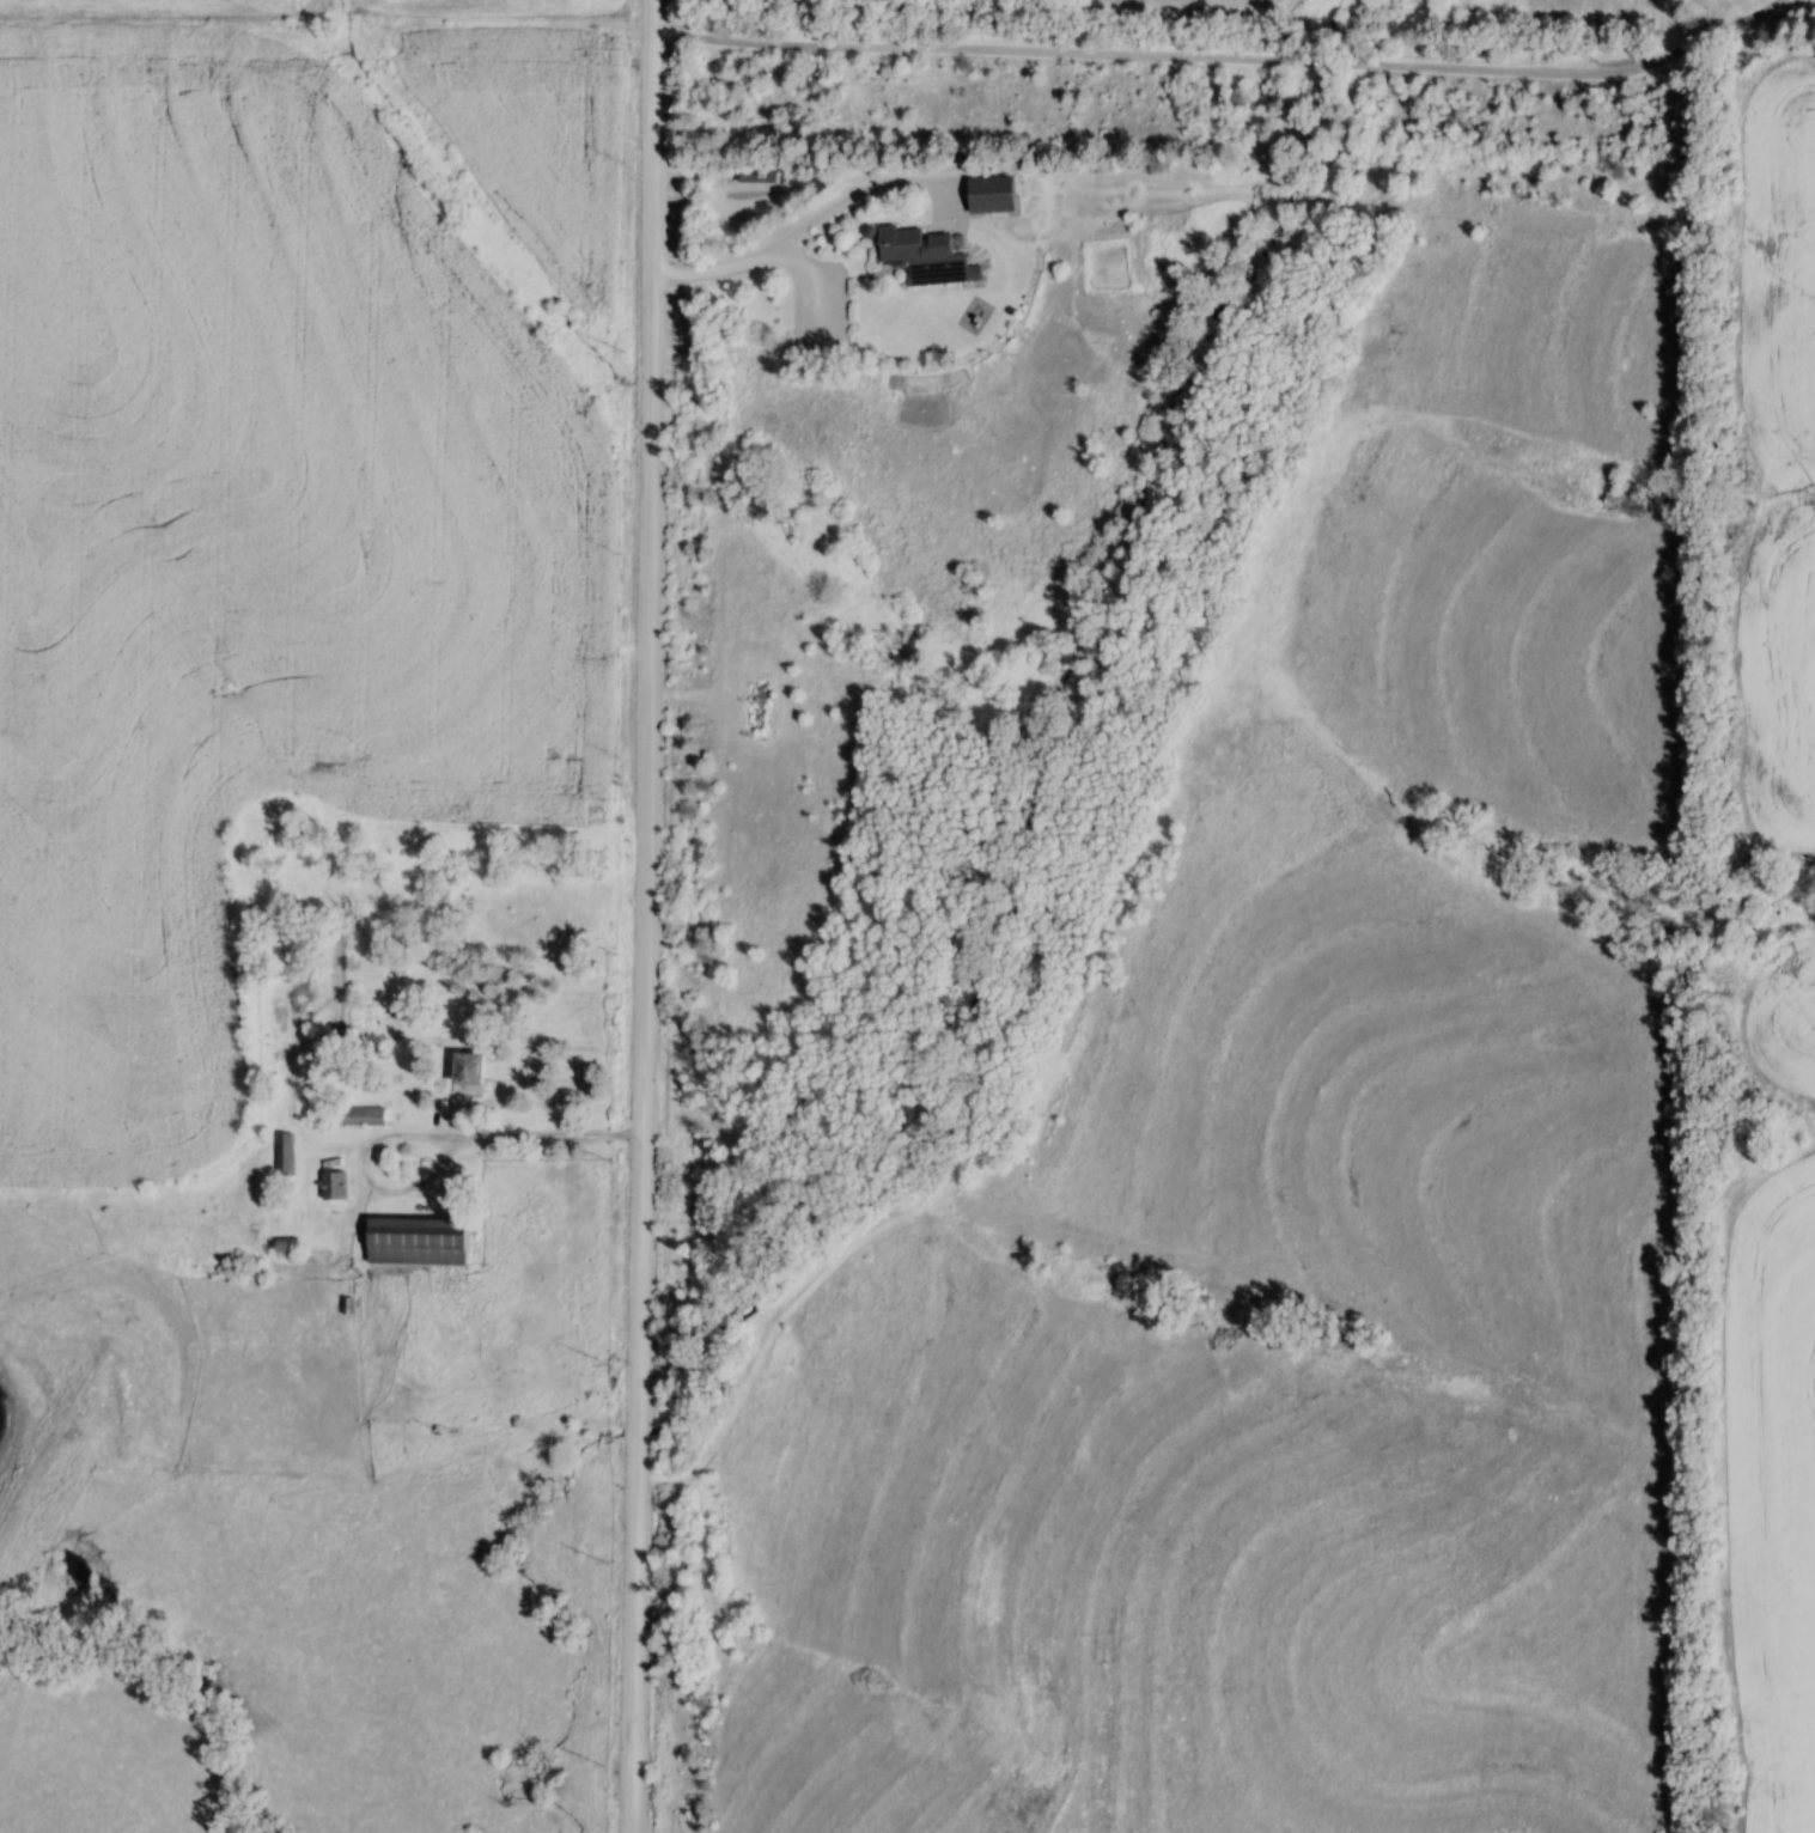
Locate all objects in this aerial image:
road: (1226, 57)
building: (754, 173)
building: (988, 193)
road: (811, 220)
building: (925, 255)
road: (645, 916)
building: (464, 1068)
building: (360, 1116)
road: (425, 1134)
building: (282, 1153)
building: (331, 1186)
building: (413, 1241)
building: (281, 1246)
dam: (50, 1444)

